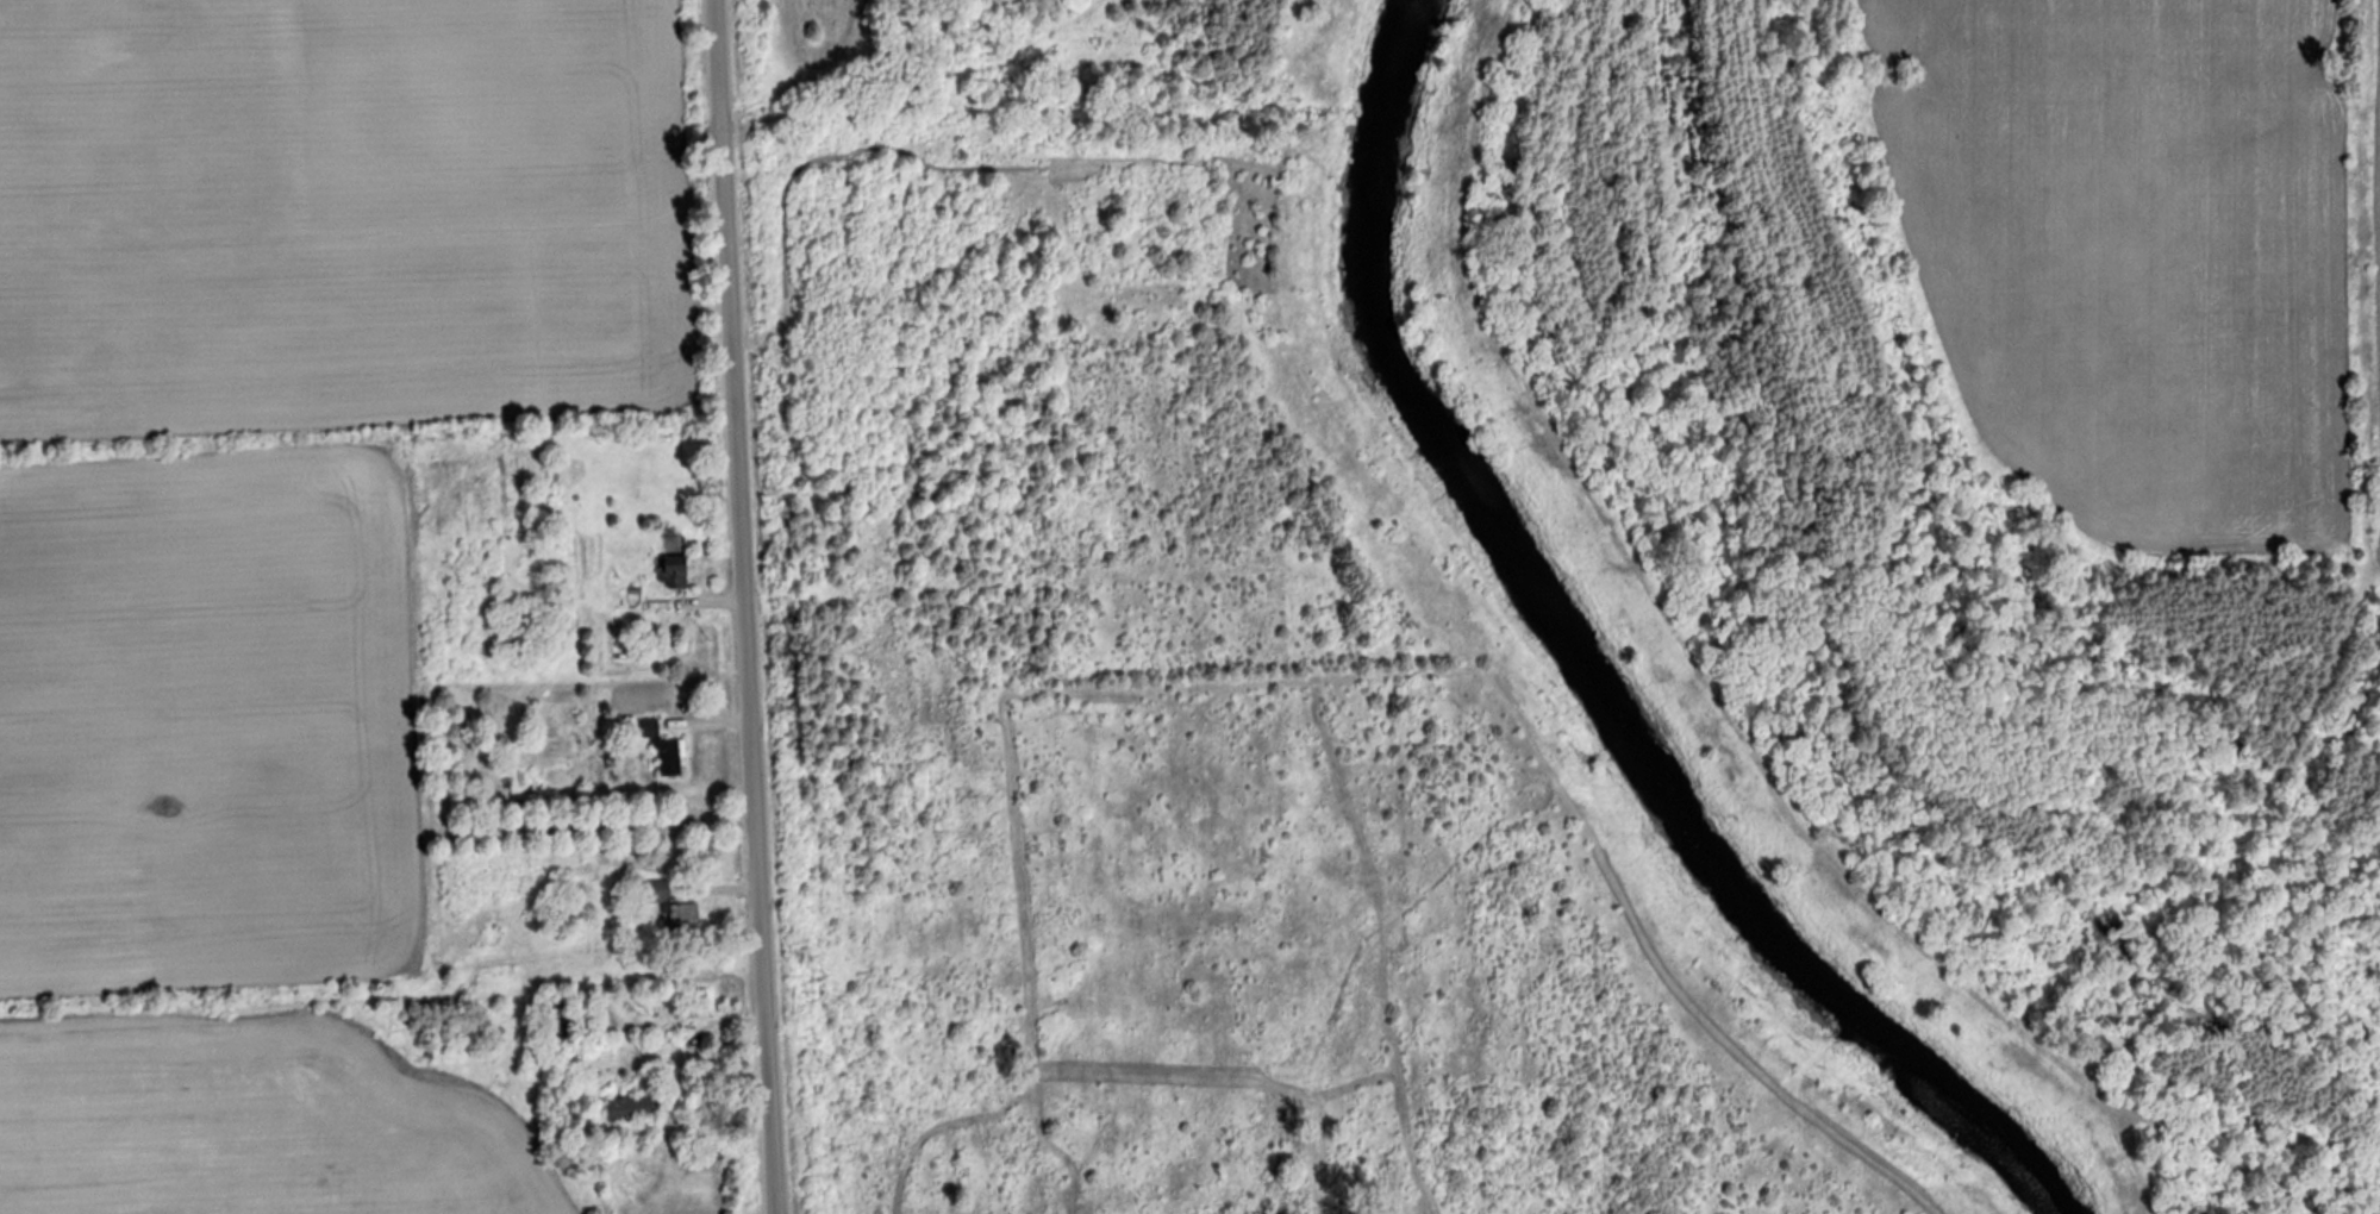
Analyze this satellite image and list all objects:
building: (674, 574)
road: (738, 607)
building: (644, 637)
river: (1581, 669)
building: (663, 747)
building: (671, 909)
building: (569, 912)
building: (699, 1000)
building: (564, 1022)
building: (633, 1110)

